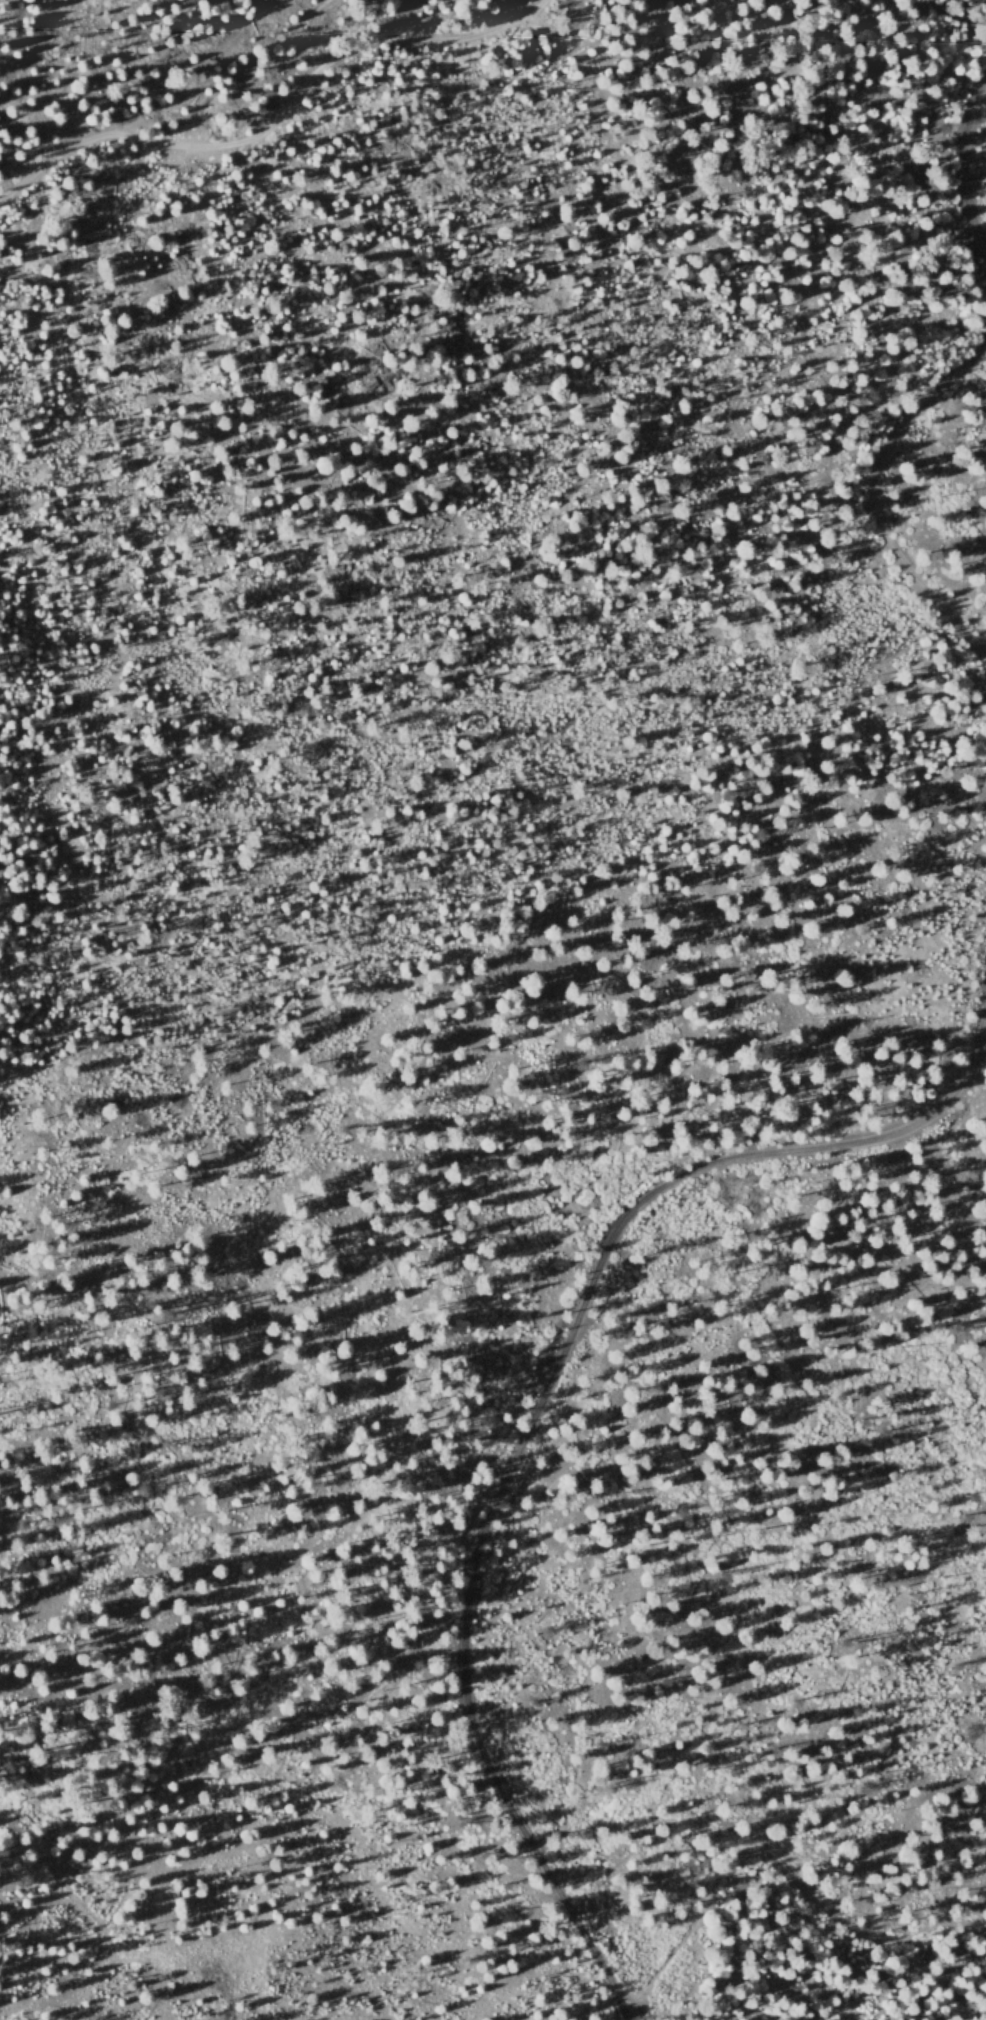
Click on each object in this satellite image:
road: (964, 183)
road: (878, 491)
road: (538, 1396)
road: (777, 1879)

